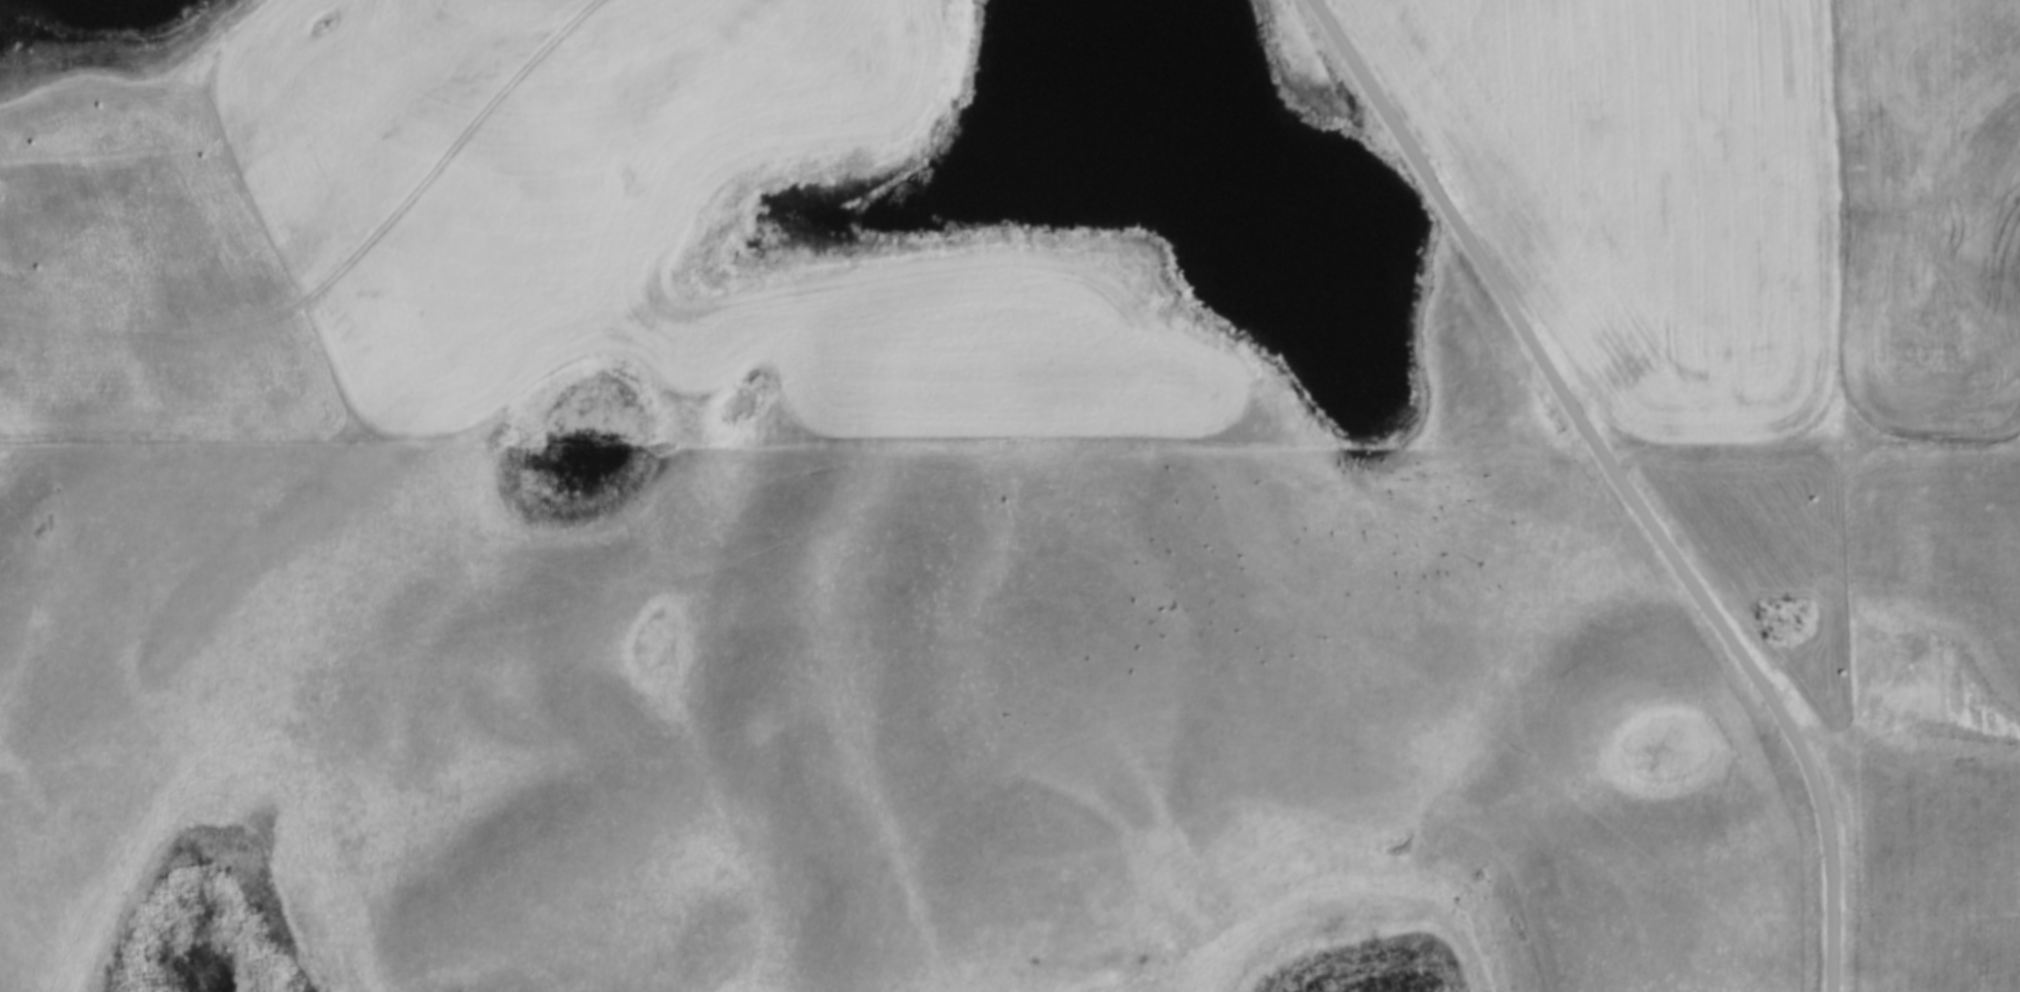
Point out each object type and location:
road: (1617, 481)

